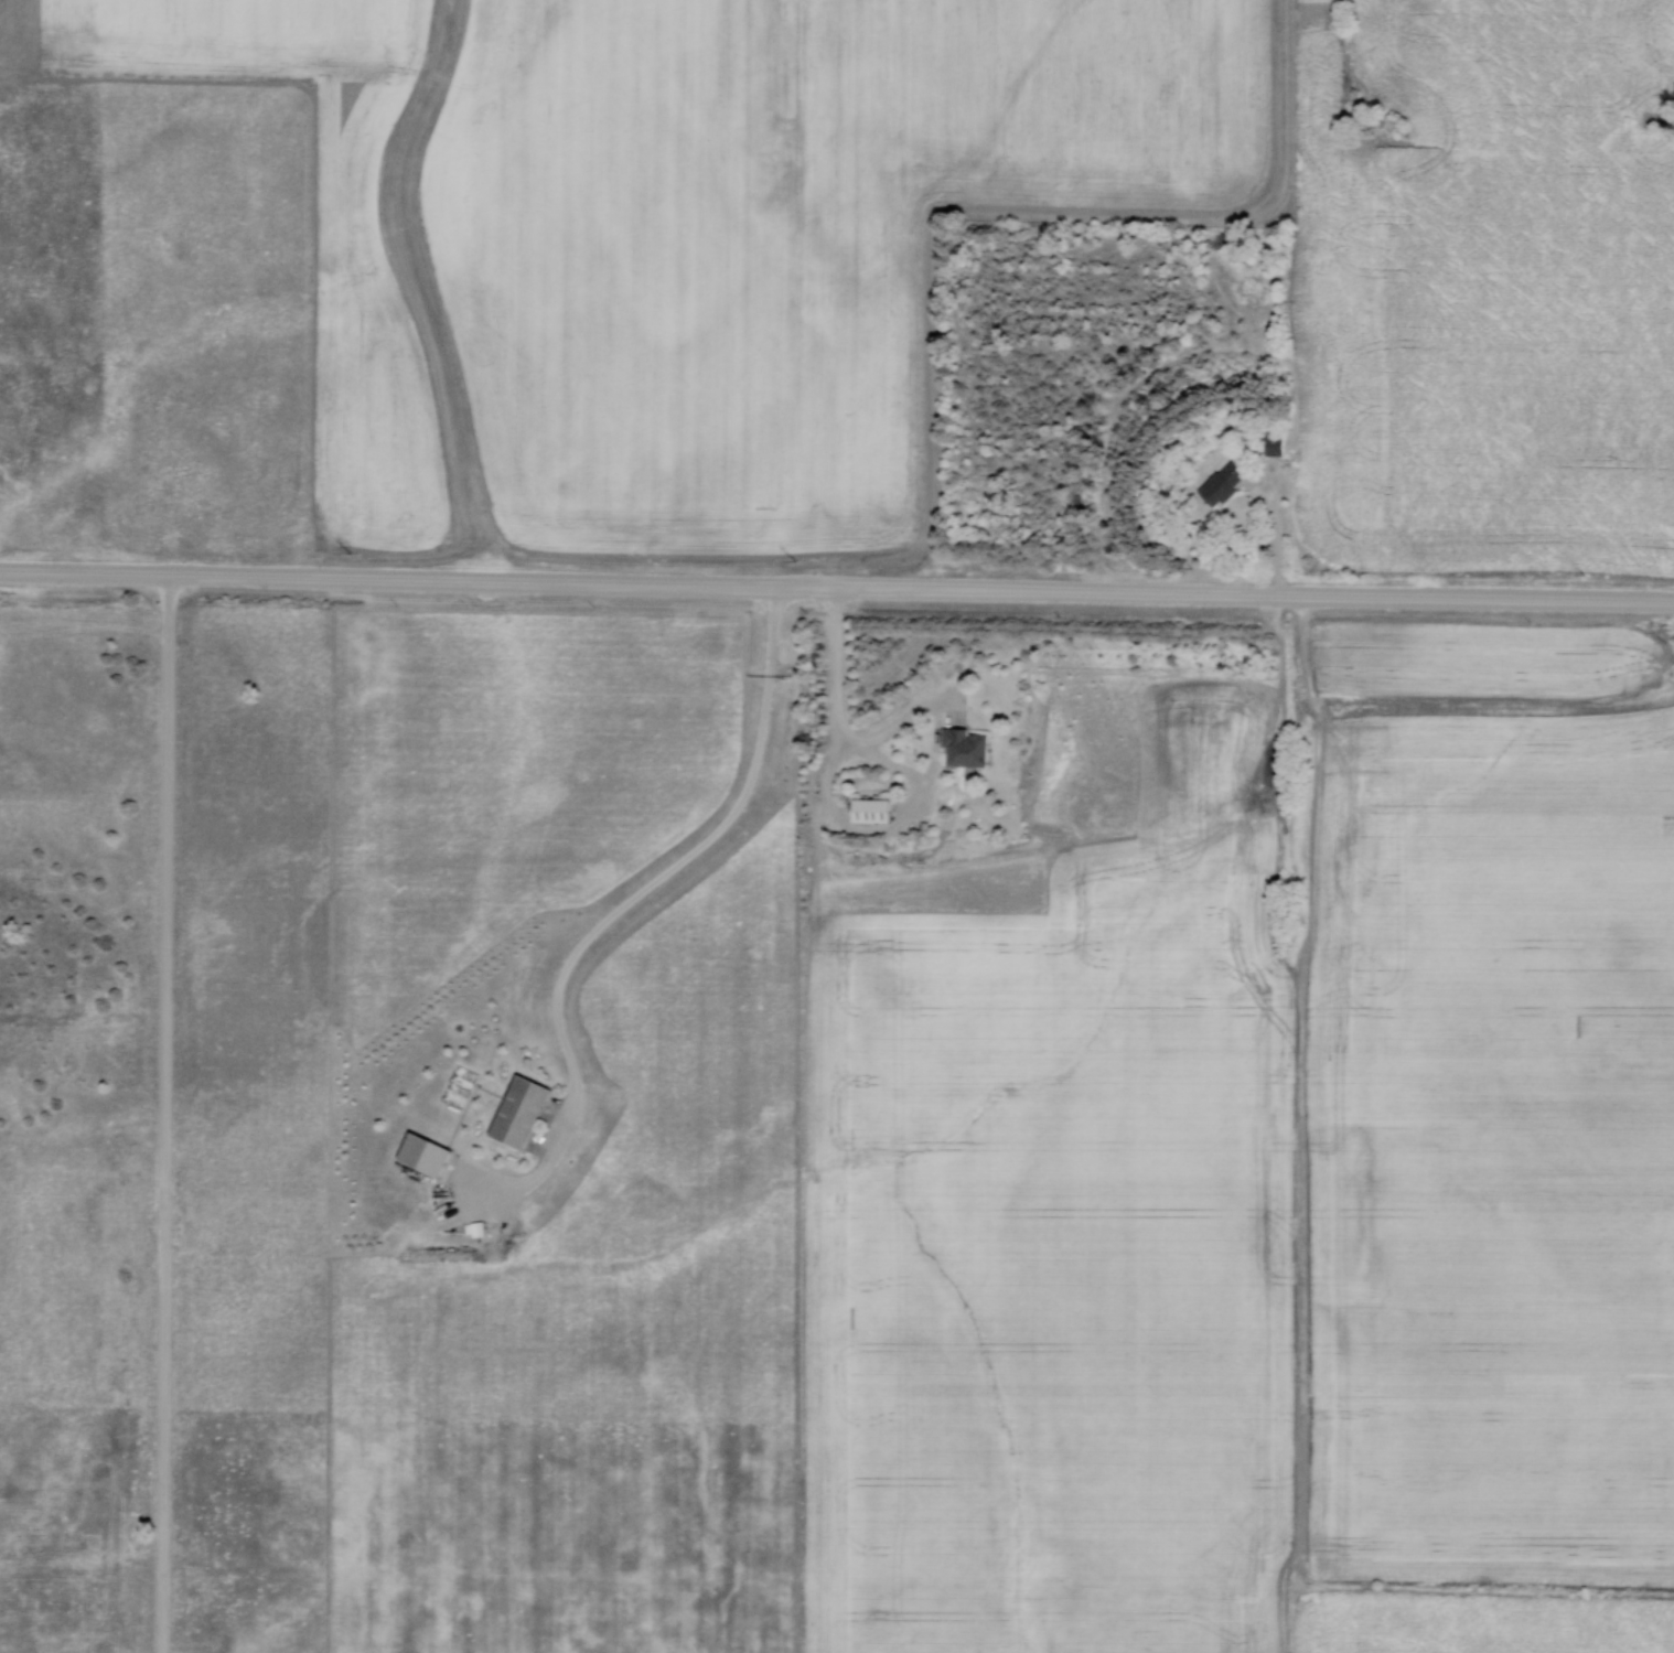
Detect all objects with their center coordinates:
building: (1273, 441)
building: (1221, 484)
road: (836, 587)
building: (963, 750)
road: (888, 762)
building: (870, 814)
road: (623, 906)
road: (167, 1112)
building: (517, 1113)
building: (422, 1155)

